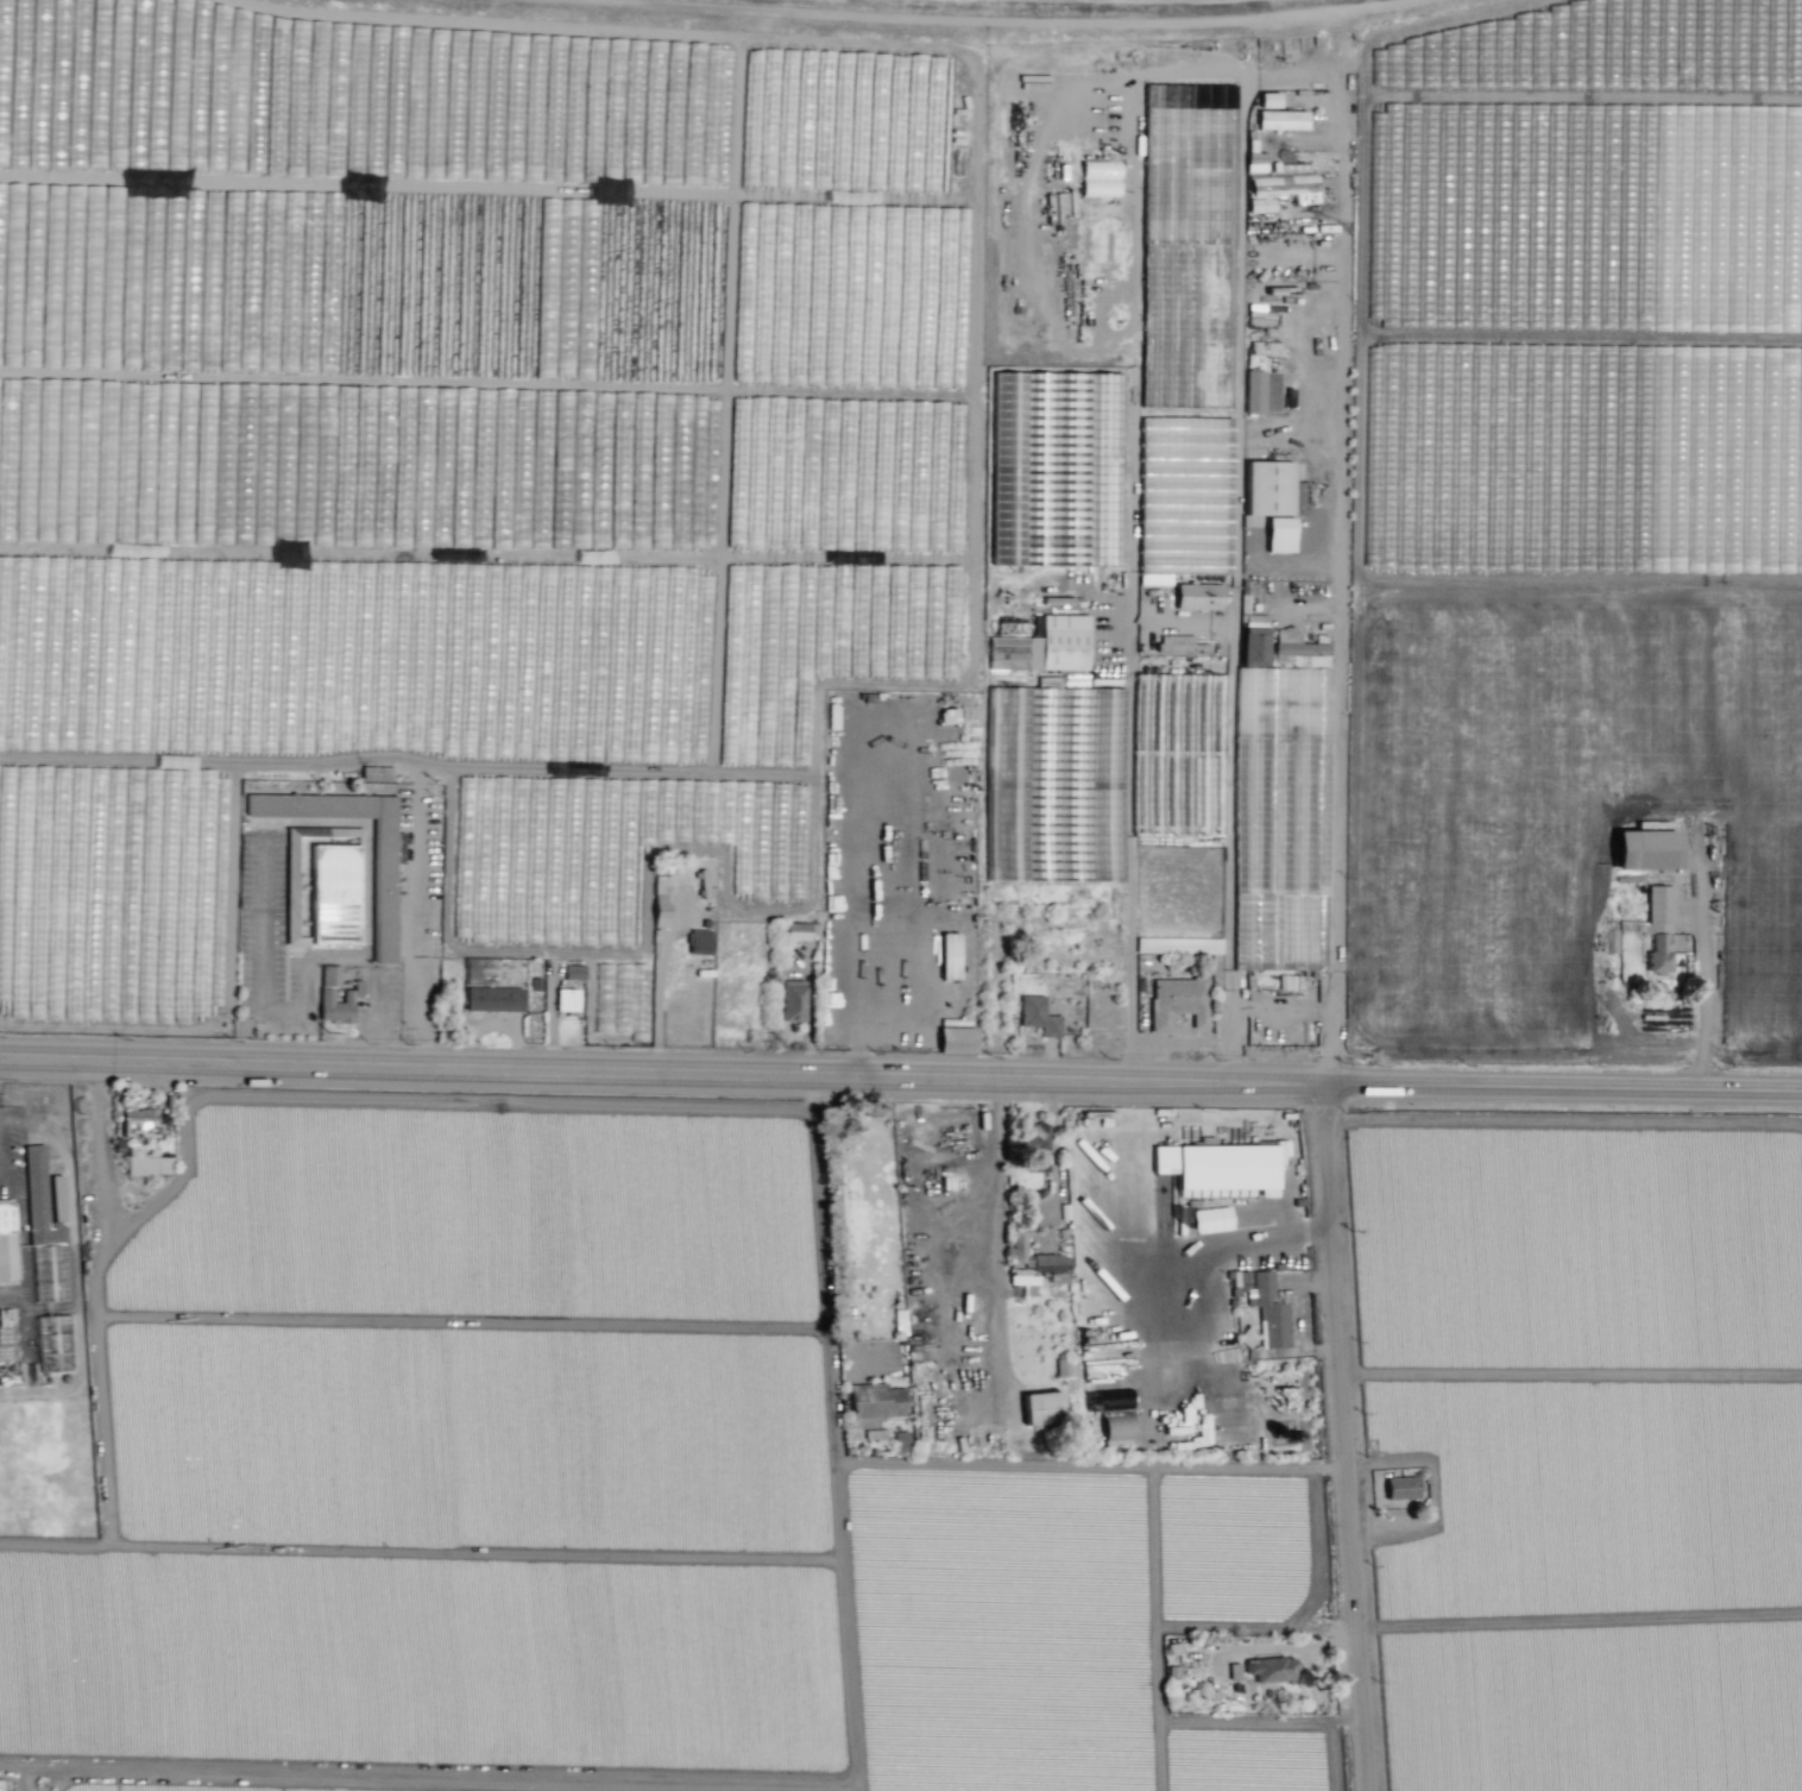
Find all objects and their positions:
building: (729, 81)
building: (1779, 82)
building: (1268, 99)
building: (1189, 105)
building: (1280, 119)
building: (1707, 125)
crop: (95, 157)
building: (1255, 162)
building: (1100, 177)
building: (1283, 190)
building: (1059, 205)
building: (573, 301)
building: (1266, 348)
building: (1254, 391)
building: (1273, 391)
building: (1064, 465)
building: (1271, 488)
building: (1279, 534)
road: (1340, 545)
building: (1177, 546)
building: (1001, 557)
crop: (1576, 567)
building: (1198, 596)
building: (1057, 601)
building: (1254, 639)
building: (1059, 643)
building: (1180, 643)
building: (322, 654)
building: (1177, 766)
building: (1073, 797)
road: (1567, 810)
building: (1645, 849)
building: (524, 860)
building: (320, 884)
building: (383, 890)
building: (661, 900)
building: (1658, 926)
building: (795, 930)
building: (699, 941)
building: (1178, 944)
road: (1701, 951)
building: (949, 955)
building: (574, 972)
building: (351, 993)
building: (493, 998)
building: (566, 999)
building: (792, 1000)
building: (1177, 1003)
road: (858, 1005)
building: (1037, 1016)
building: (956, 1039)
road: (900, 1077)
building: (140, 1123)
building: (1035, 1146)
building: (149, 1165)
building: (1217, 1165)
building: (38, 1198)
building: (1210, 1219)
building: (1020, 1238)
building: (6, 1242)
road: (1220, 1245)
building: (1050, 1262)
building: (1025, 1280)
building: (1266, 1306)
building: (899, 1321)
building: (1246, 1337)
building: (53, 1343)
building: (876, 1400)
building: (1041, 1407)
building: (1114, 1416)
building: (1197, 1431)
building: (901, 1440)
road: (1347, 1440)
building: (1400, 1488)
building: (1272, 1669)
building: (1234, 1670)

